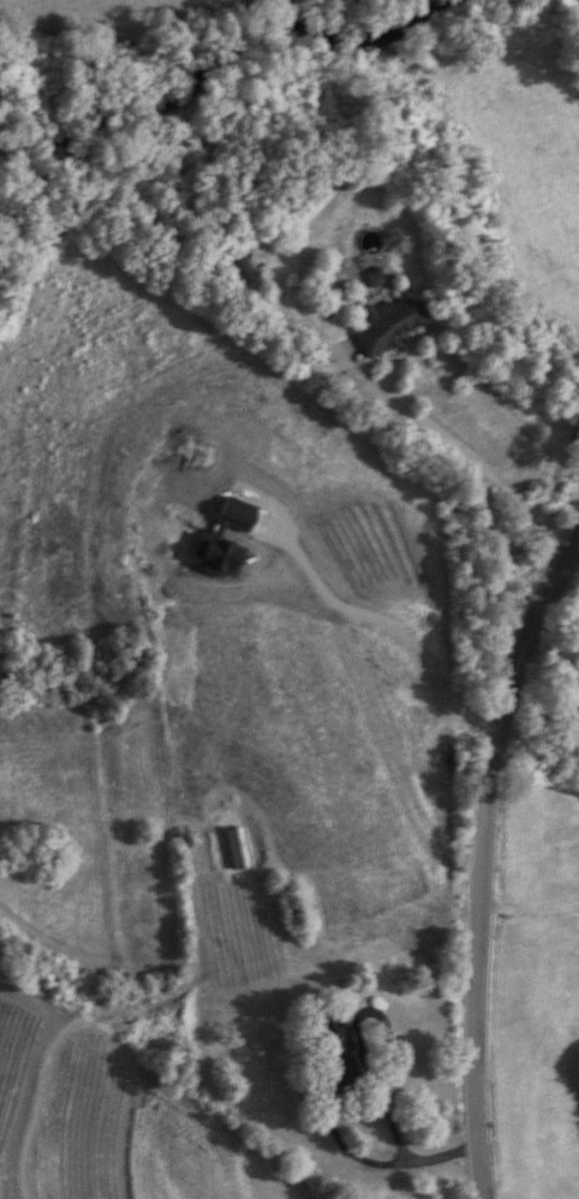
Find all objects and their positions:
river: (205, 89)
building: (241, 271)
building: (387, 324)
road: (466, 457)
building: (235, 845)
road: (483, 859)
building: (330, 1052)
road: (388, 1066)
road: (354, 1155)

